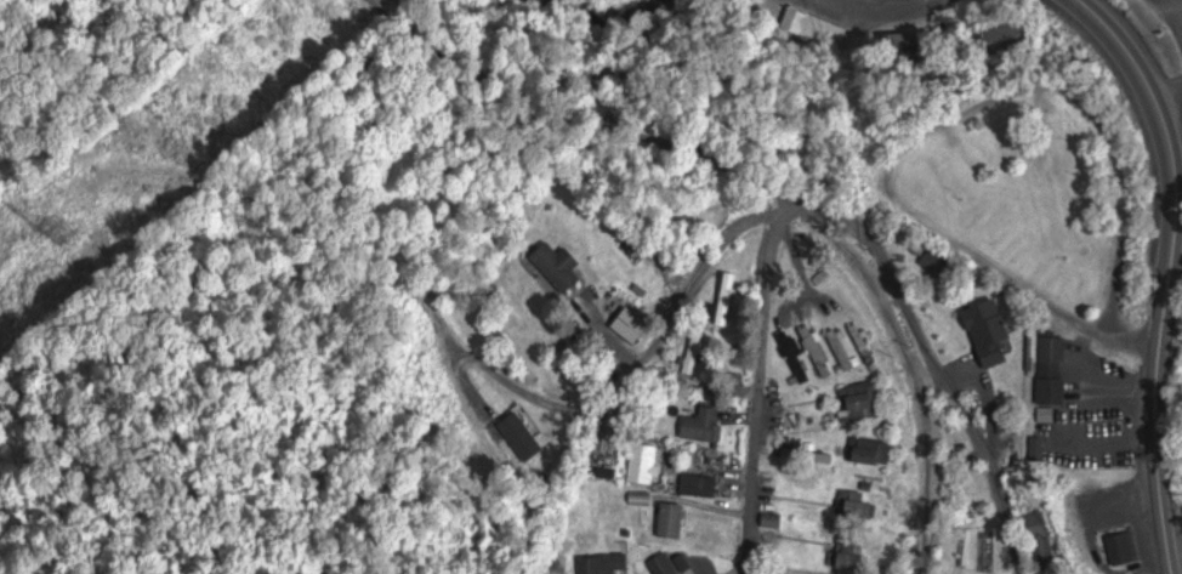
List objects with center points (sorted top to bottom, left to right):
road: (899, 1)
road: (909, 4)
river: (602, 17)
building: (819, 24)
building: (1010, 35)
building: (917, 45)
road: (505, 83)
road: (1165, 93)
building: (996, 138)
building: (1052, 141)
building: (979, 172)
building: (1005, 203)
building: (979, 212)
power tower: (40, 218)
building: (1006, 227)
road: (949, 235)
building: (1032, 241)
building: (1089, 251)
building: (1057, 257)
building: (941, 263)
building: (562, 265)
road: (1166, 271)
building: (1082, 274)
road: (877, 296)
road: (762, 319)
building: (633, 324)
building: (993, 330)
road: (1136, 335)
building: (868, 345)
building: (820, 349)
building: (797, 356)
building: (1052, 362)
road: (633, 376)
building: (864, 400)
road: (948, 400)
building: (705, 425)
building: (1046, 425)
building: (1041, 448)
building: (876, 450)
building: (646, 462)
building: (703, 484)
building: (864, 506)
building: (675, 519)
building: (1127, 547)
building: (602, 563)
building: (666, 564)

